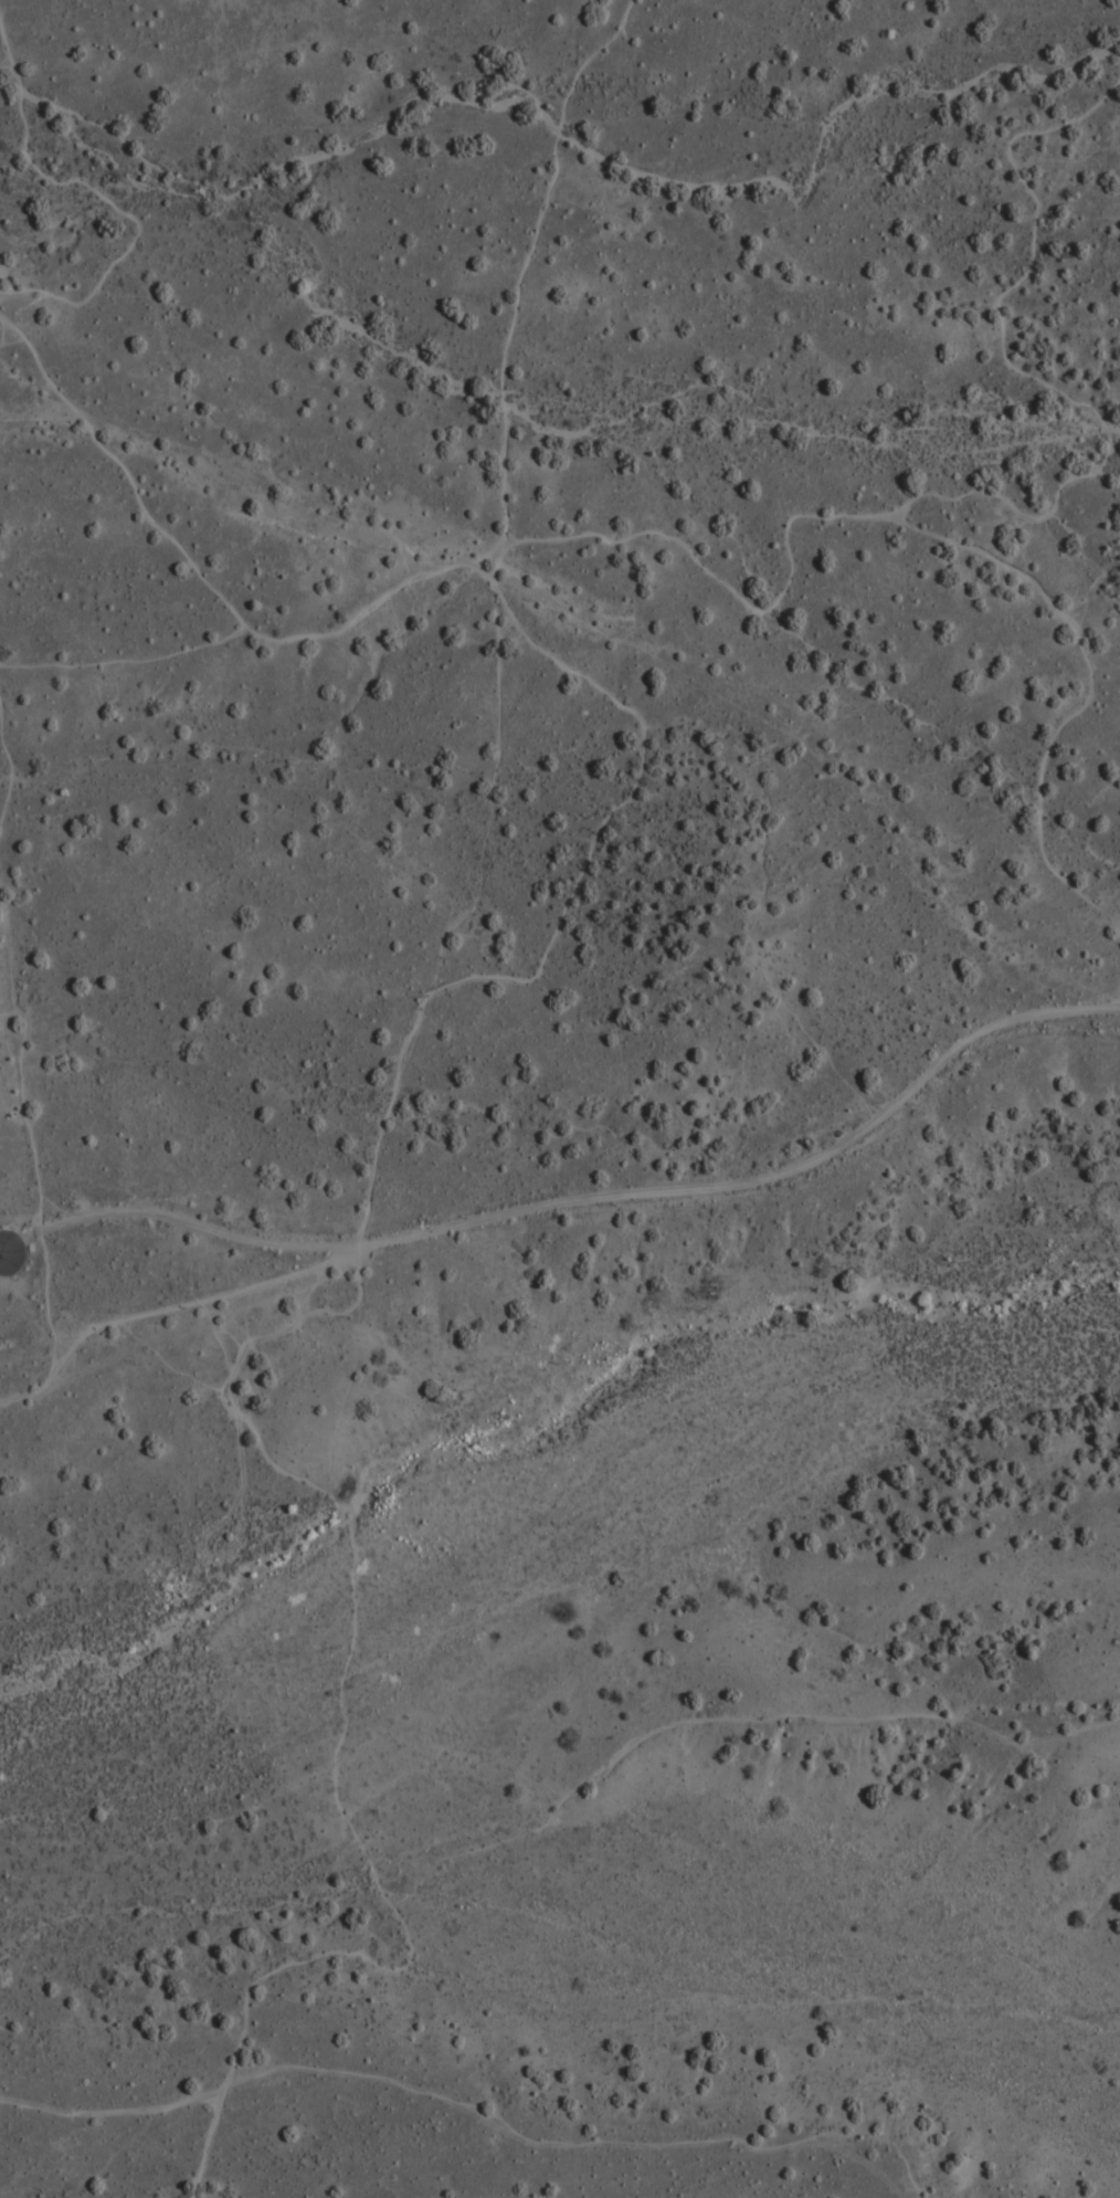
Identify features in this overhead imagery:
park: (563, 77)
road: (1093, 138)
road: (103, 199)
road: (527, 262)
road: (12, 347)
road: (1027, 376)
road: (926, 532)
road: (495, 568)
road: (136, 654)
road: (624, 806)
road: (39, 1006)
road: (578, 1199)
road: (160, 1312)
road: (345, 1514)
road: (489, 1848)
road: (581, 2134)
road: (211, 2142)

